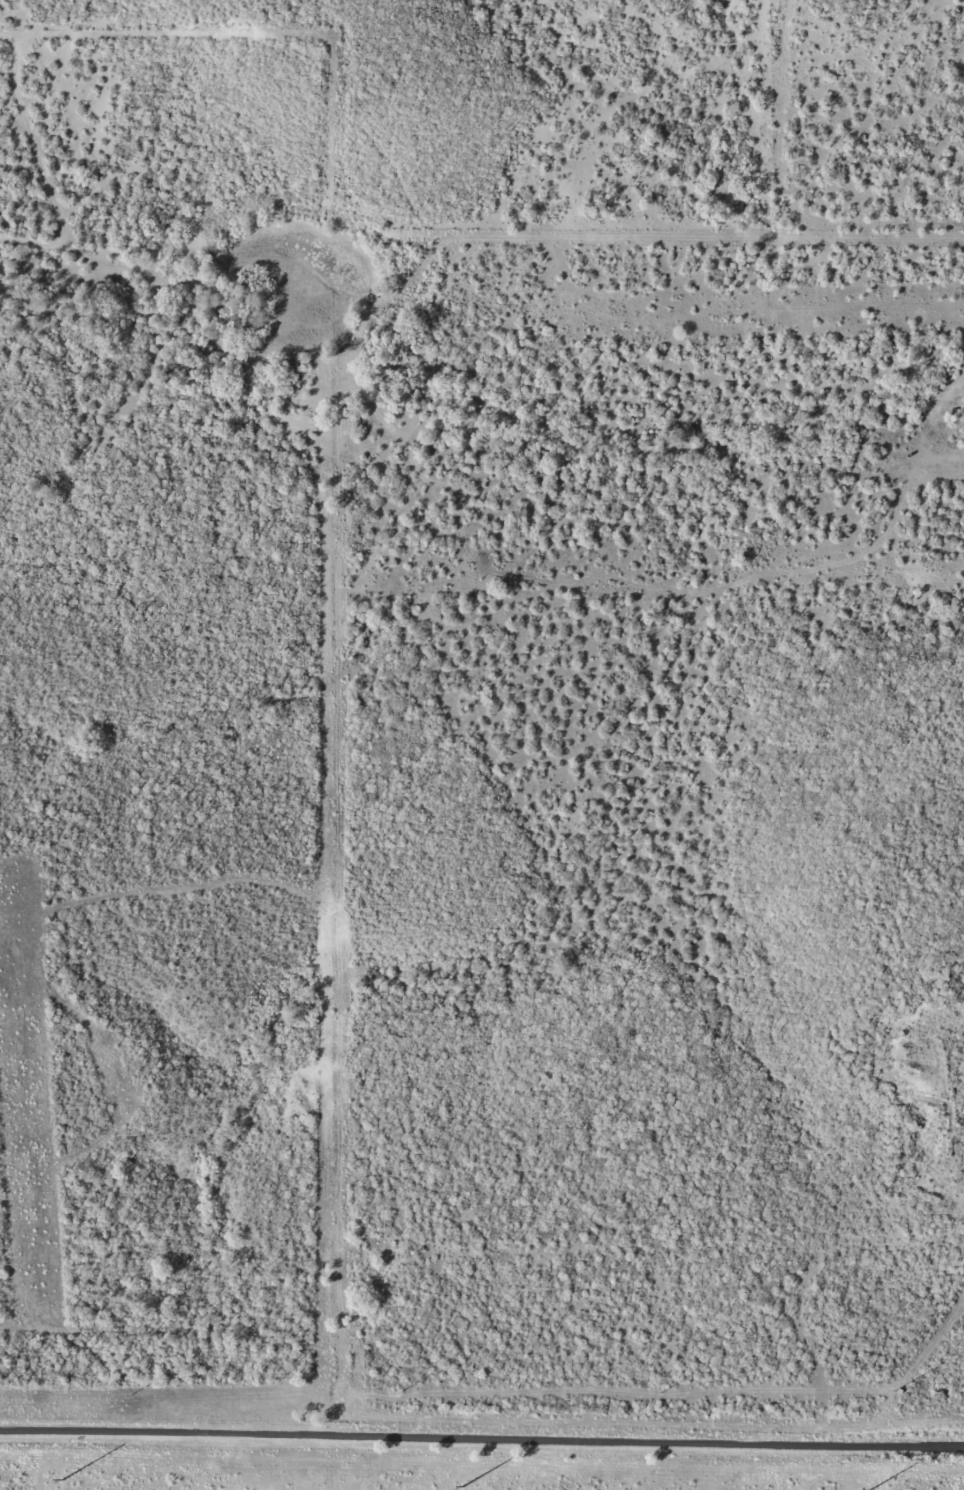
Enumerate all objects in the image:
power tower: (894, 1391)
power tower: (661, 1392)
power tower: (394, 1393)
power tower: (127, 1395)
road: (482, 1438)
power tower: (59, 1478)
power tower: (459, 1486)

